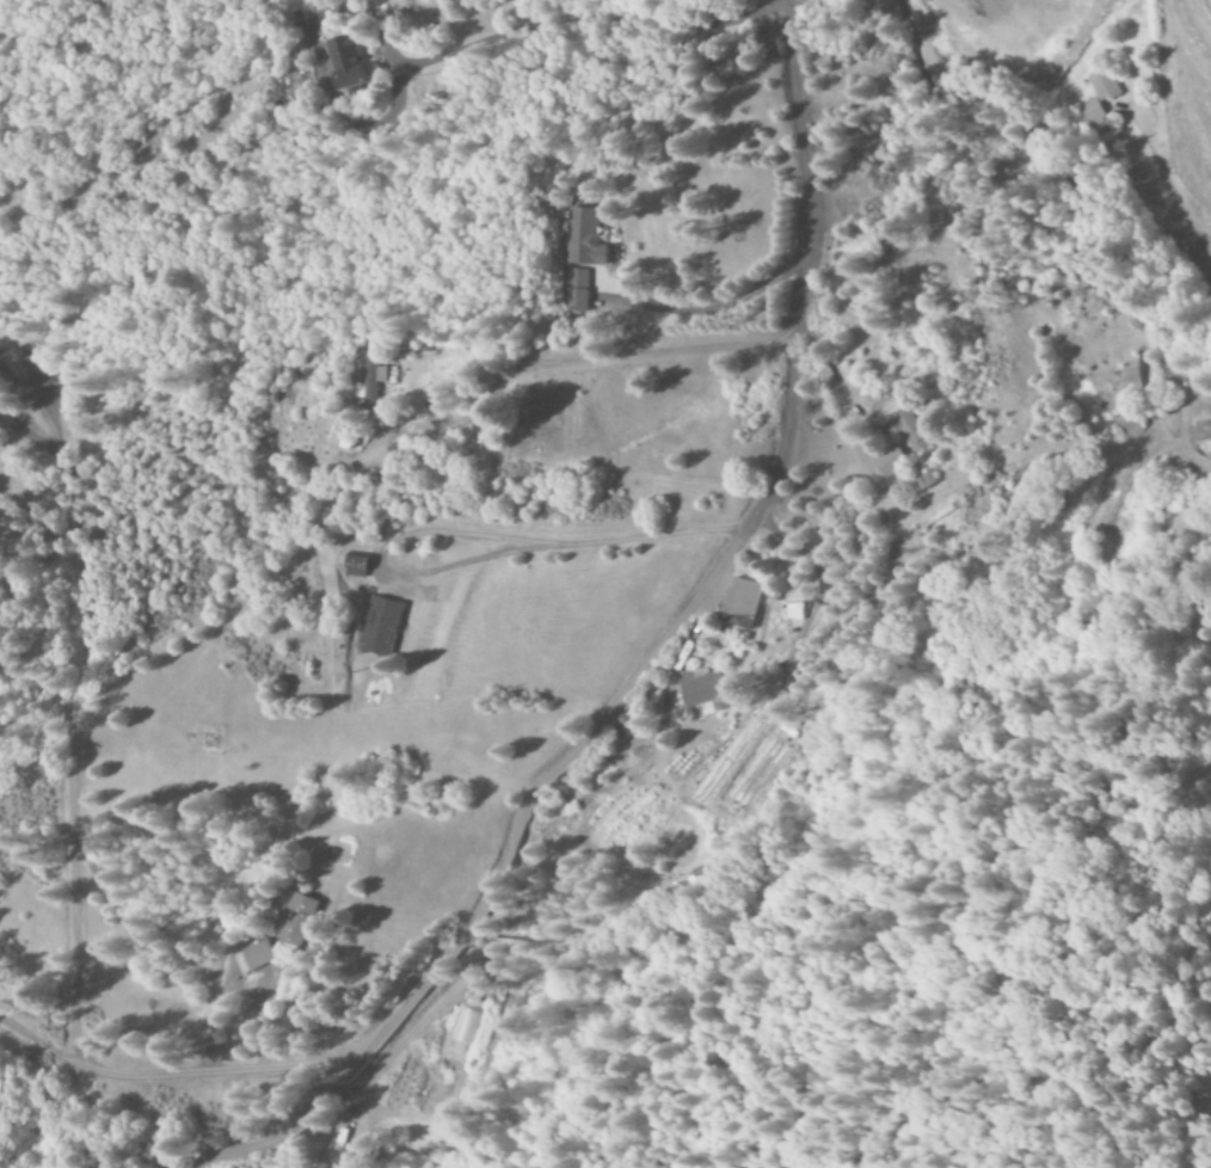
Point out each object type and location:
building: (346, 63)
building: (1104, 86)
building: (1092, 112)
building: (579, 256)
building: (368, 382)
building: (897, 422)
building: (890, 461)
building: (356, 564)
building: (742, 604)
building: (794, 611)
building: (380, 627)
road: (647, 663)
building: (703, 690)
building: (297, 921)
building: (253, 957)

